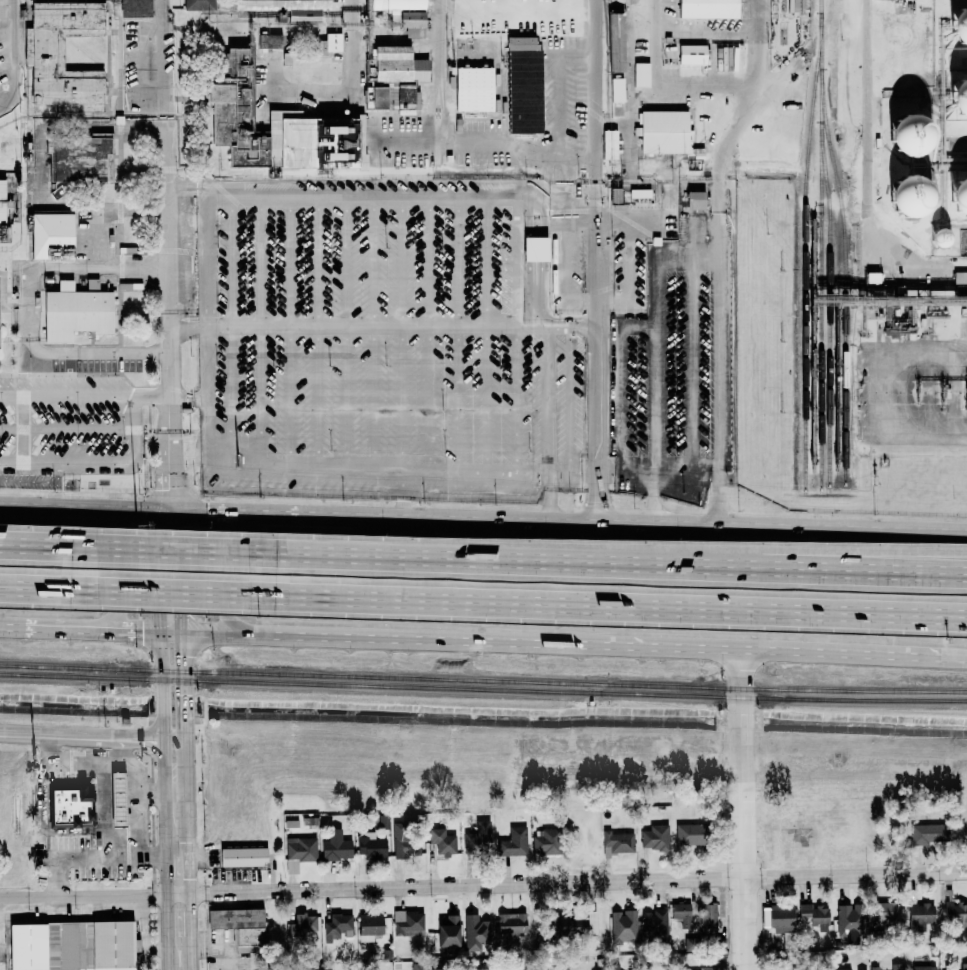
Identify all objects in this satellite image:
building: (395, 4)
building: (198, 5)
railway: (820, 6)
building: (134, 8)
building: (286, 8)
building: (708, 8)
road: (14, 11)
building: (393, 20)
road: (7, 22)
building: (411, 22)
building: (958, 26)
building: (269, 41)
building: (332, 42)
building: (615, 42)
building: (42, 49)
building: (693, 54)
building: (397, 65)
road: (14, 68)
road: (595, 71)
building: (642, 74)
road: (705, 83)
building: (524, 84)
building: (474, 89)
road: (560, 89)
building: (619, 90)
building: (406, 96)
building: (377, 97)
building: (958, 97)
building: (277, 128)
building: (664, 131)
building: (907, 135)
road: (453, 138)
building: (609, 144)
building: (80, 160)
road: (595, 162)
building: (908, 196)
building: (958, 197)
road: (165, 198)
building: (695, 200)
building: (2, 201)
road: (634, 223)
building: (51, 235)
building: (938, 237)
railway: (844, 247)
building: (534, 249)
railway: (805, 251)
road: (598, 255)
road: (569, 256)
road: (705, 260)
road: (208, 264)
road: (101, 269)
parking lot: (567, 272)
parking lot: (630, 276)
railway: (829, 276)
road: (629, 278)
building: (960, 279)
building: (91, 285)
road: (538, 288)
road: (719, 297)
road: (584, 303)
railway: (820, 305)
road: (692, 310)
road: (32, 311)
building: (75, 313)
road: (385, 327)
road: (230, 333)
road: (261, 334)
road: (290, 334)
road: (319, 334)
road: (347, 334)
road: (374, 334)
road: (403, 334)
road: (430, 335)
road: (458, 335)
road: (488, 335)
road: (518, 335)
parking lot: (380, 344)
road: (105, 350)
parking lot: (676, 368)
road: (621, 375)
road: (655, 394)
road: (86, 397)
road: (190, 397)
road: (547, 402)
road: (571, 402)
road: (600, 424)
road: (68, 428)
road: (23, 429)
road: (135, 429)
road: (172, 442)
road: (68, 462)
road: (638, 462)
road: (674, 463)
road: (706, 463)
road: (440, 472)
road: (533, 473)
road: (560, 474)
road: (172, 487)
road: (653, 491)
road: (551, 495)
road: (80, 502)
traffic signals: (161, 506)
traffic signals: (184, 506)
road: (198, 506)
road: (278, 509)
road: (643, 519)
road: (299, 557)
road: (782, 560)
road: (122, 567)
road: (184, 569)
road: (224, 572)
road: (782, 573)
road: (431, 605)
road: (914, 619)
road: (162, 623)
road: (13, 628)
road: (69, 630)
road: (137, 632)
traffic signals: (163, 633)
road: (174, 633)
traffic signals: (185, 633)
road: (211, 634)
road: (590, 644)
road: (954, 657)
railway: (483, 679)
road: (185, 687)
railway: (483, 690)
road: (82, 738)
road: (175, 741)
road: (128, 753)
road: (165, 767)
road: (41, 793)
road: (150, 793)
building: (119, 800)
gas station: (119, 800)
building: (71, 807)
road: (742, 809)
road: (102, 811)
road: (134, 811)
road: (188, 817)
road: (166, 821)
building: (688, 834)
building: (928, 834)
building: (477, 836)
building: (655, 837)
building: (406, 840)
building: (545, 841)
building: (442, 842)
building: (513, 842)
building: (618, 843)
building: (370, 845)
building: (335, 846)
building: (299, 852)
road: (149, 855)
building: (243, 856)
road: (166, 872)
road: (566, 882)
road: (82, 894)
building: (681, 912)
building: (886, 912)
building: (955, 912)
road: (191, 914)
building: (920, 915)
building: (814, 916)
building: (707, 919)
building: (779, 919)
building: (846, 920)
building: (573, 922)
building: (303, 923)
building: (408, 923)
building: (511, 925)
building: (336, 926)
building: (623, 926)
building: (240, 927)
building: (369, 927)
building: (655, 927)
road: (167, 932)
building: (447, 934)
building: (476, 934)
building: (71, 945)
road: (192, 952)
building: (418, 966)
building: (896, 966)
building: (964, 966)
building: (923, 967)
building: (875, 968)
building: (433, 969)
building: (711, 969)
building: (840, 969)

